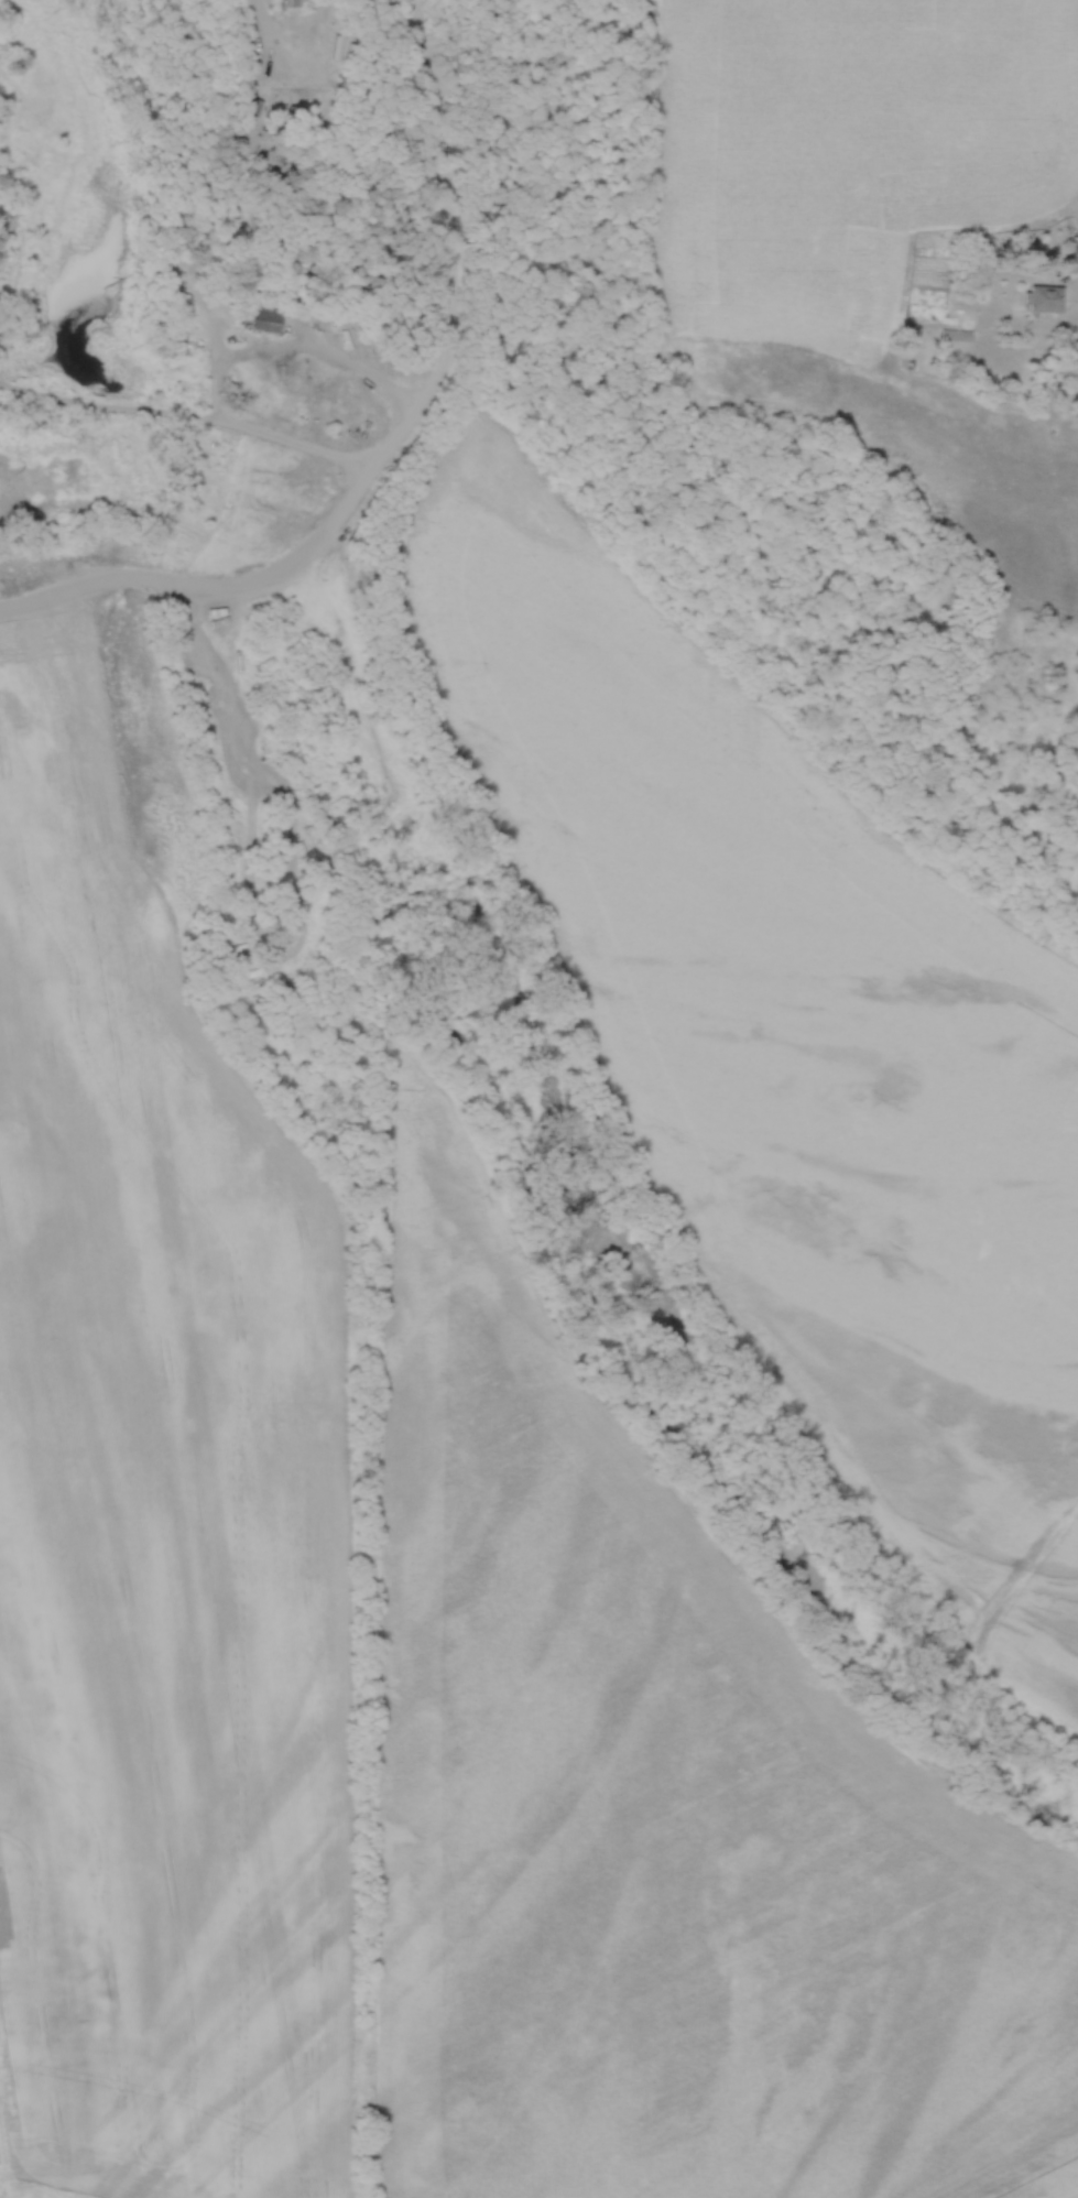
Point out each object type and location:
building: (293, 3)
road: (268, 28)
building: (1074, 247)
road: (1070, 280)
building: (1043, 298)
building: (265, 317)
building: (179, 325)
building: (955, 335)
road: (352, 368)
road: (411, 421)
road: (211, 592)

